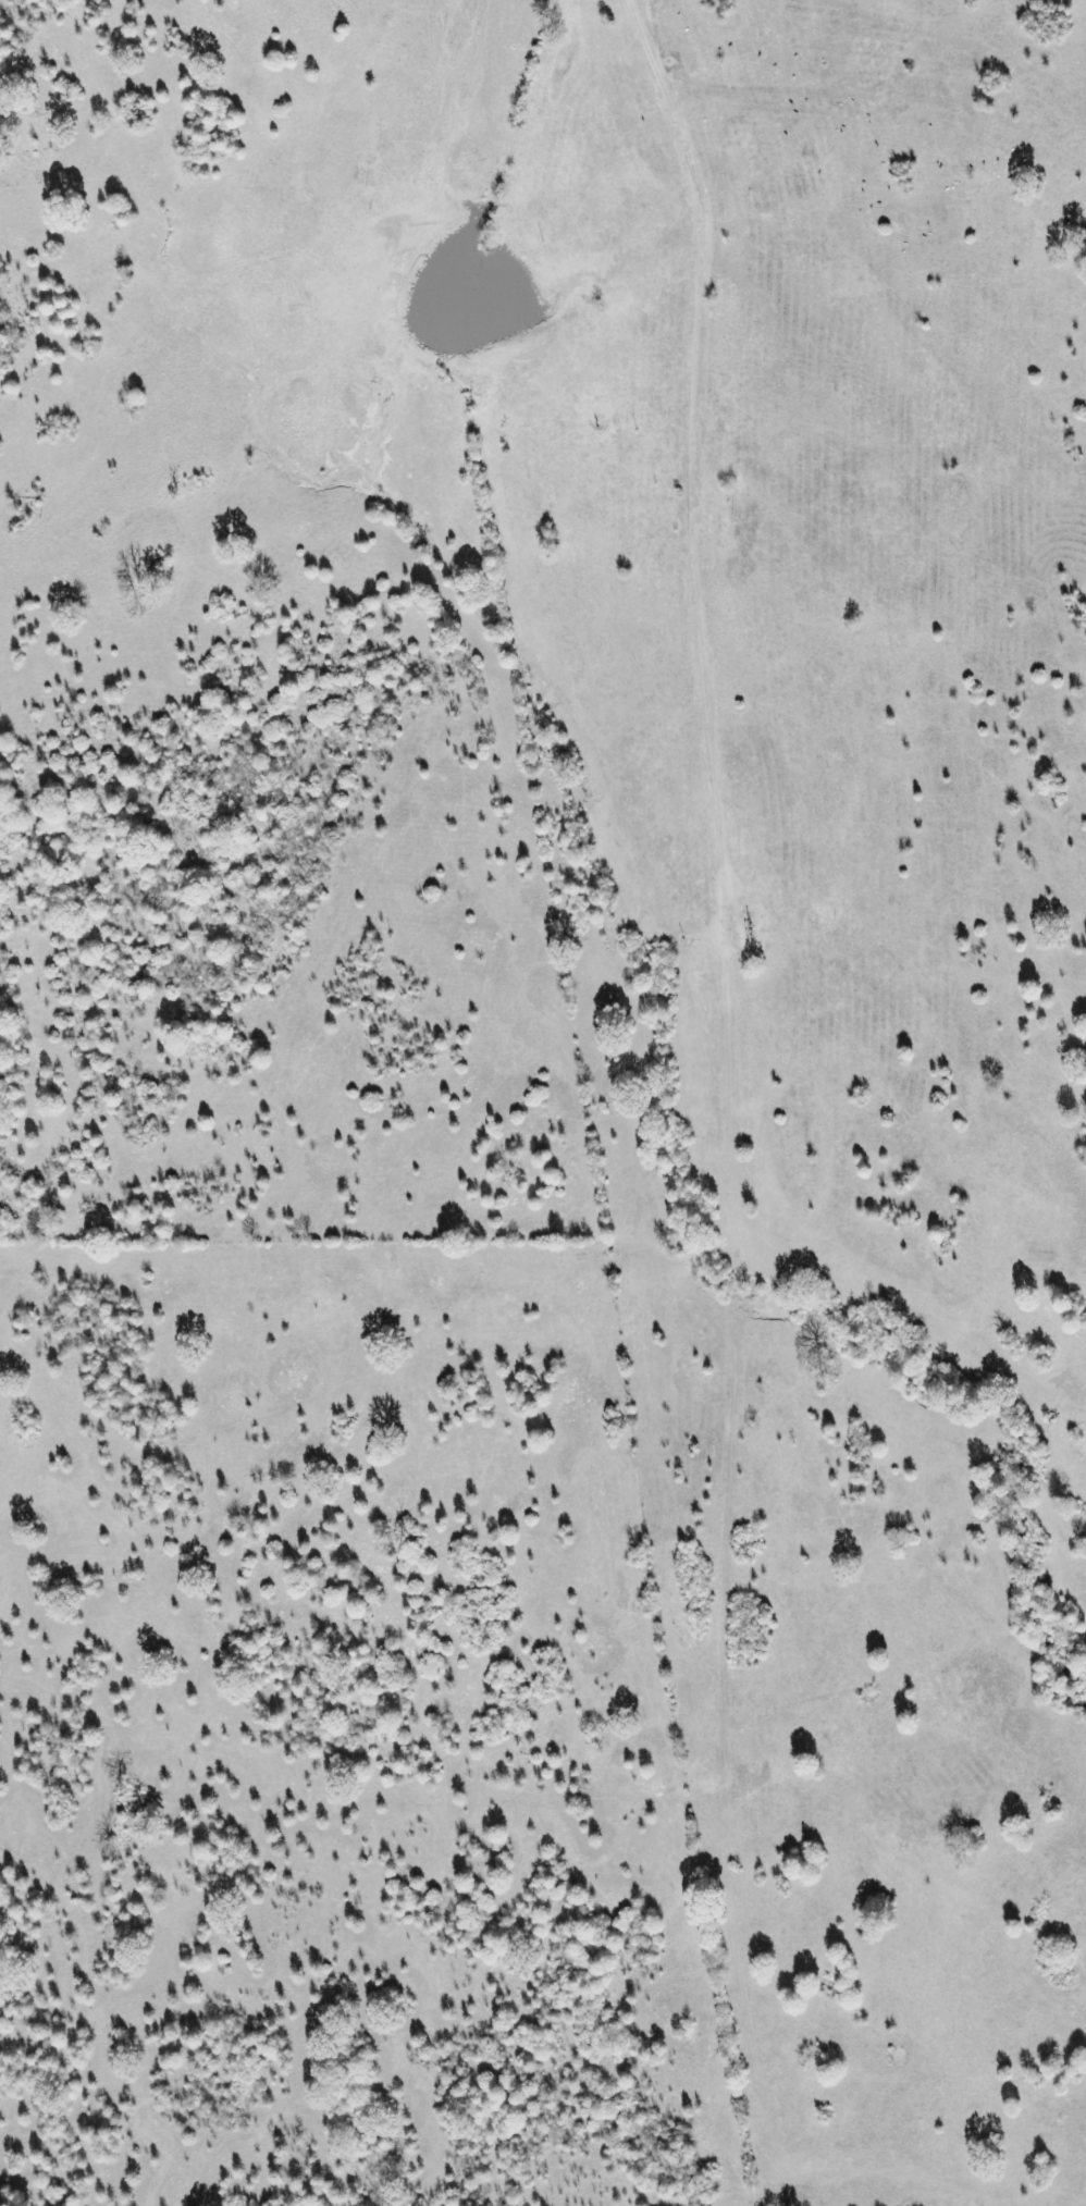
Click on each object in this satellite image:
road: (718, 831)

